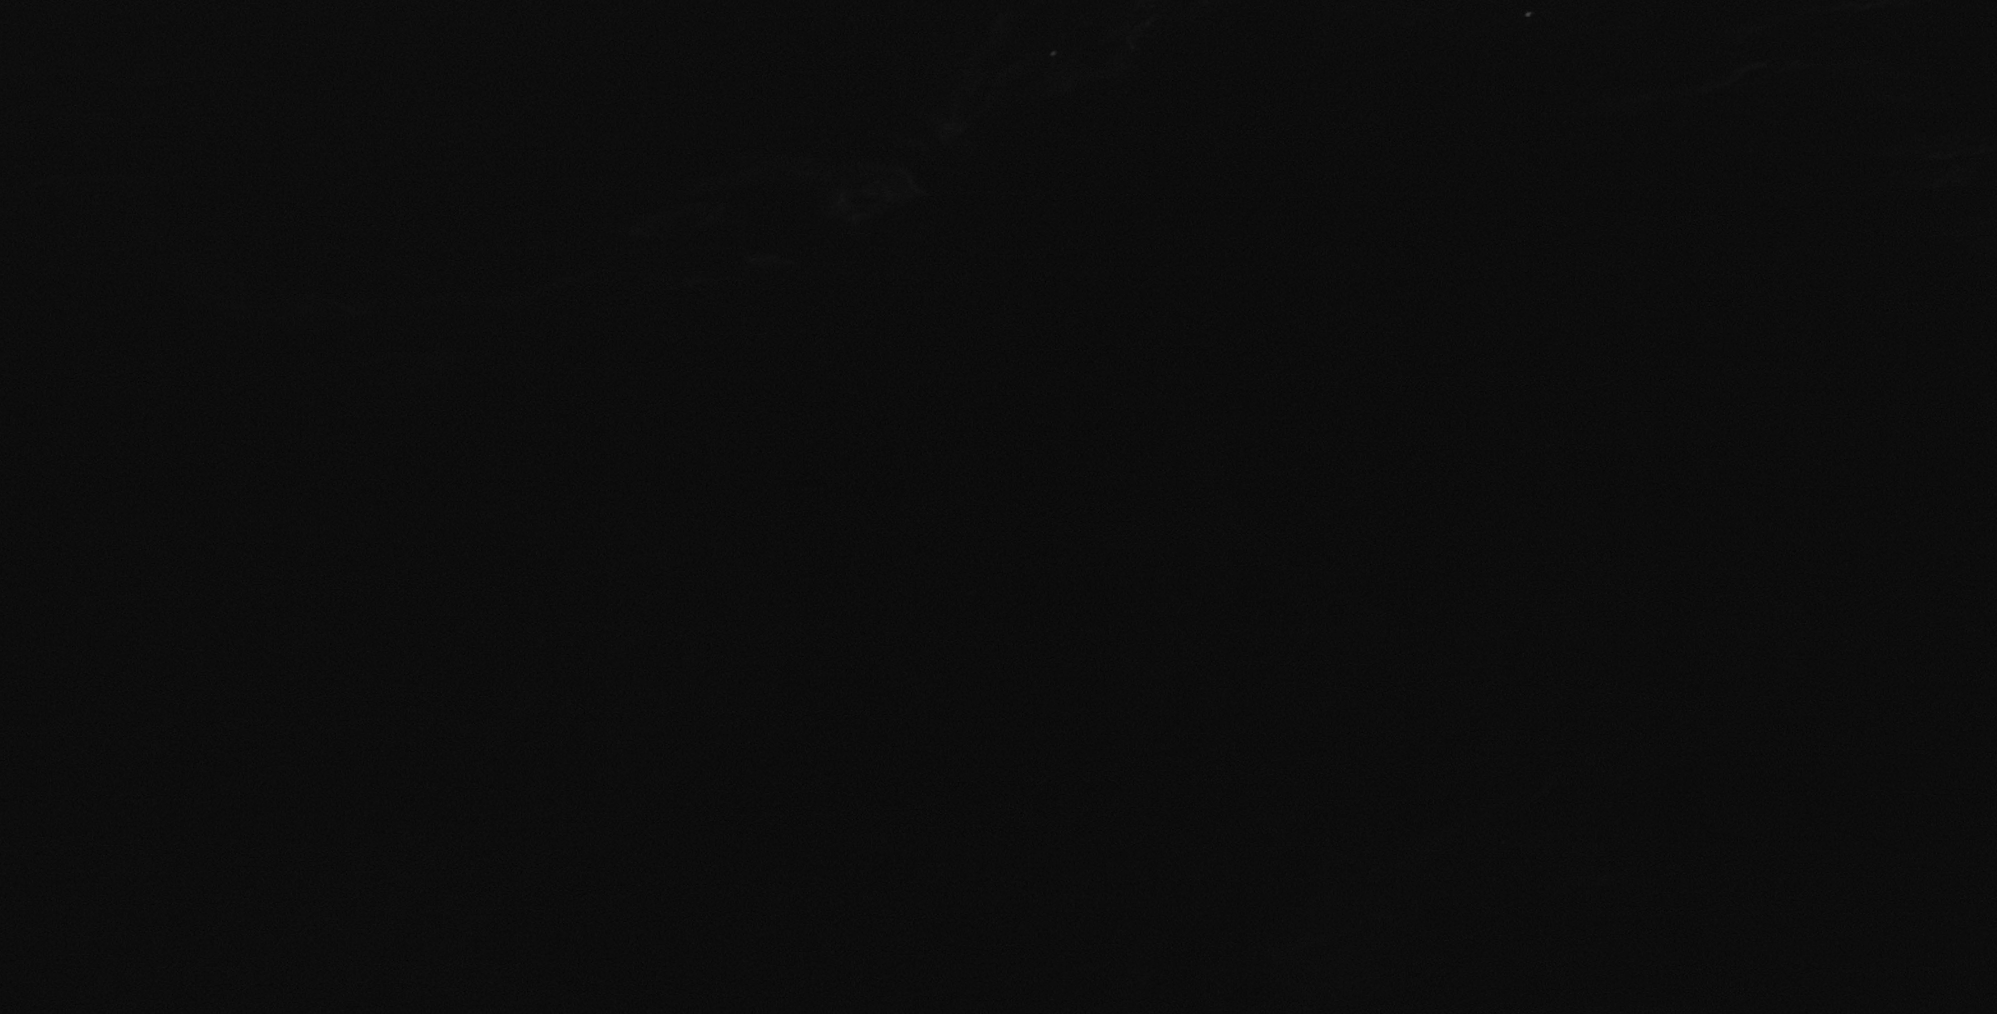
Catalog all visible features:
river: (998, 552)

